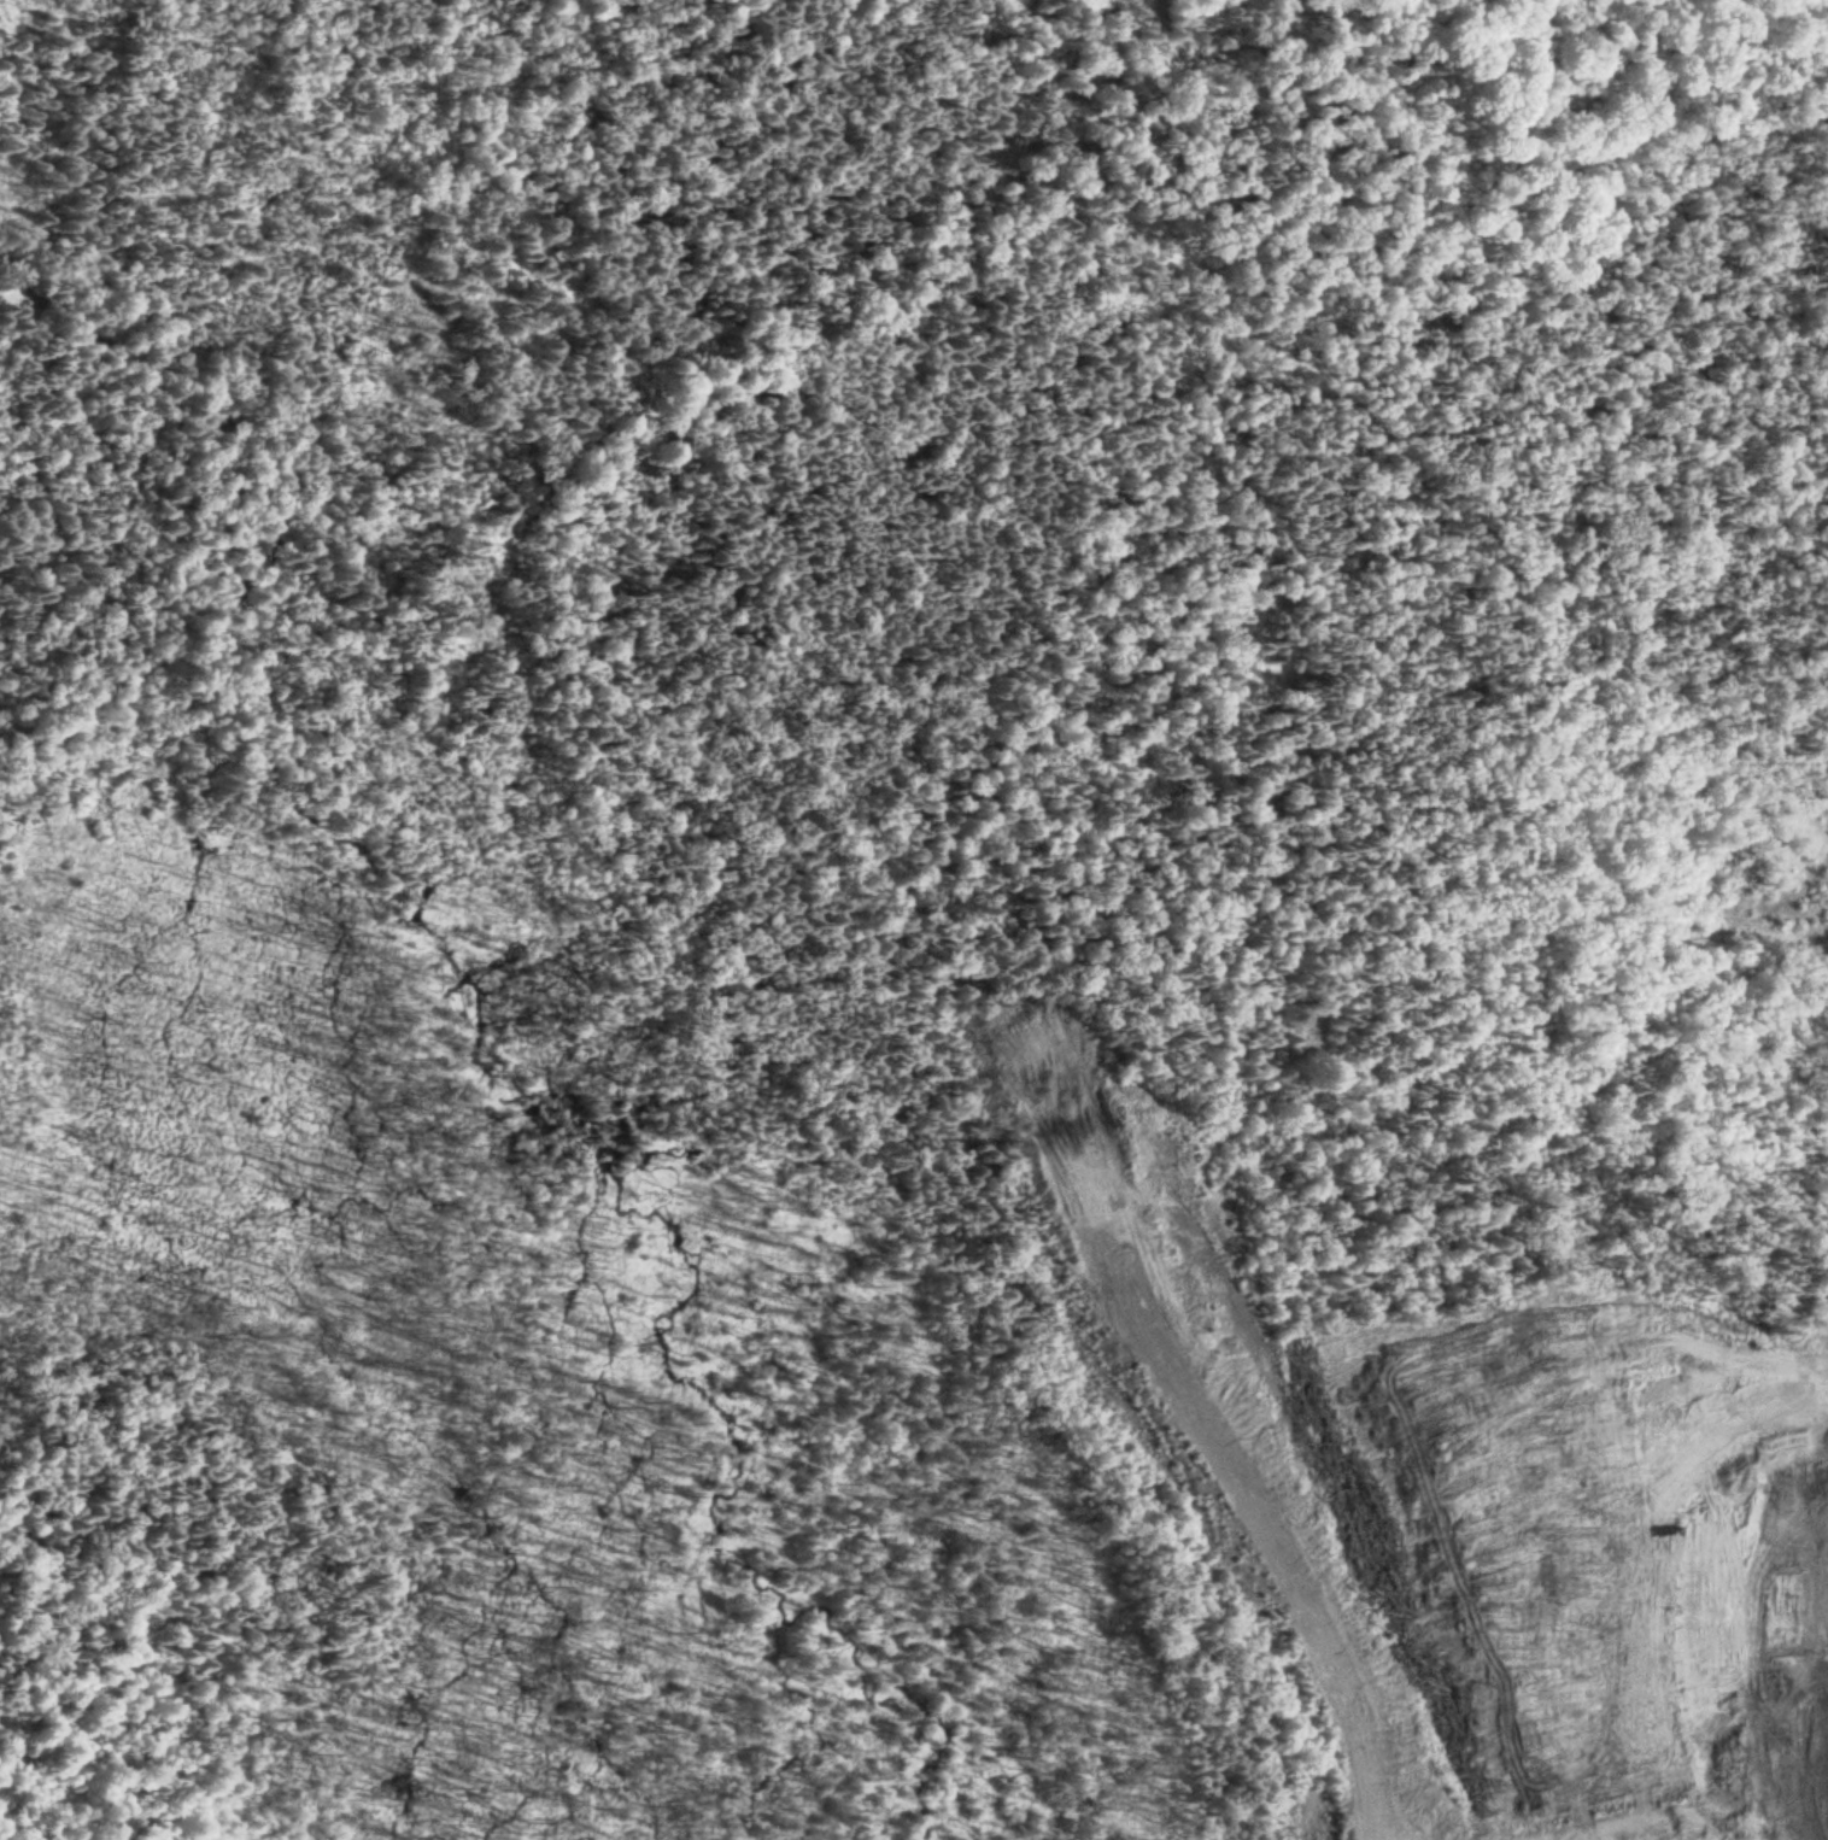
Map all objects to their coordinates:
road: (209, 365)
park: (661, 723)
quarry: (1276, 1460)

